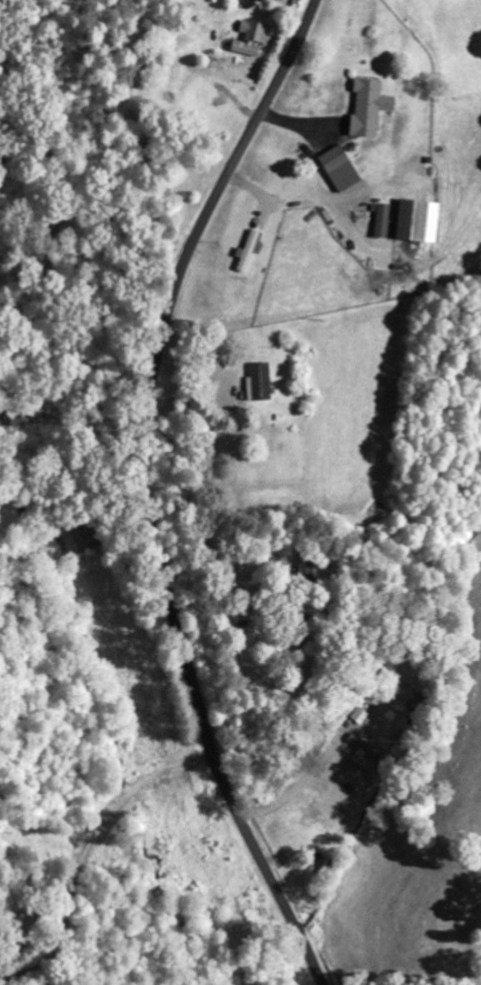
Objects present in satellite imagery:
building: (254, 30)
building: (367, 106)
building: (338, 167)
building: (381, 219)
building: (416, 219)
building: (247, 250)
building: (257, 381)
road: (141, 491)
building: (358, 717)
building: (357, 744)

